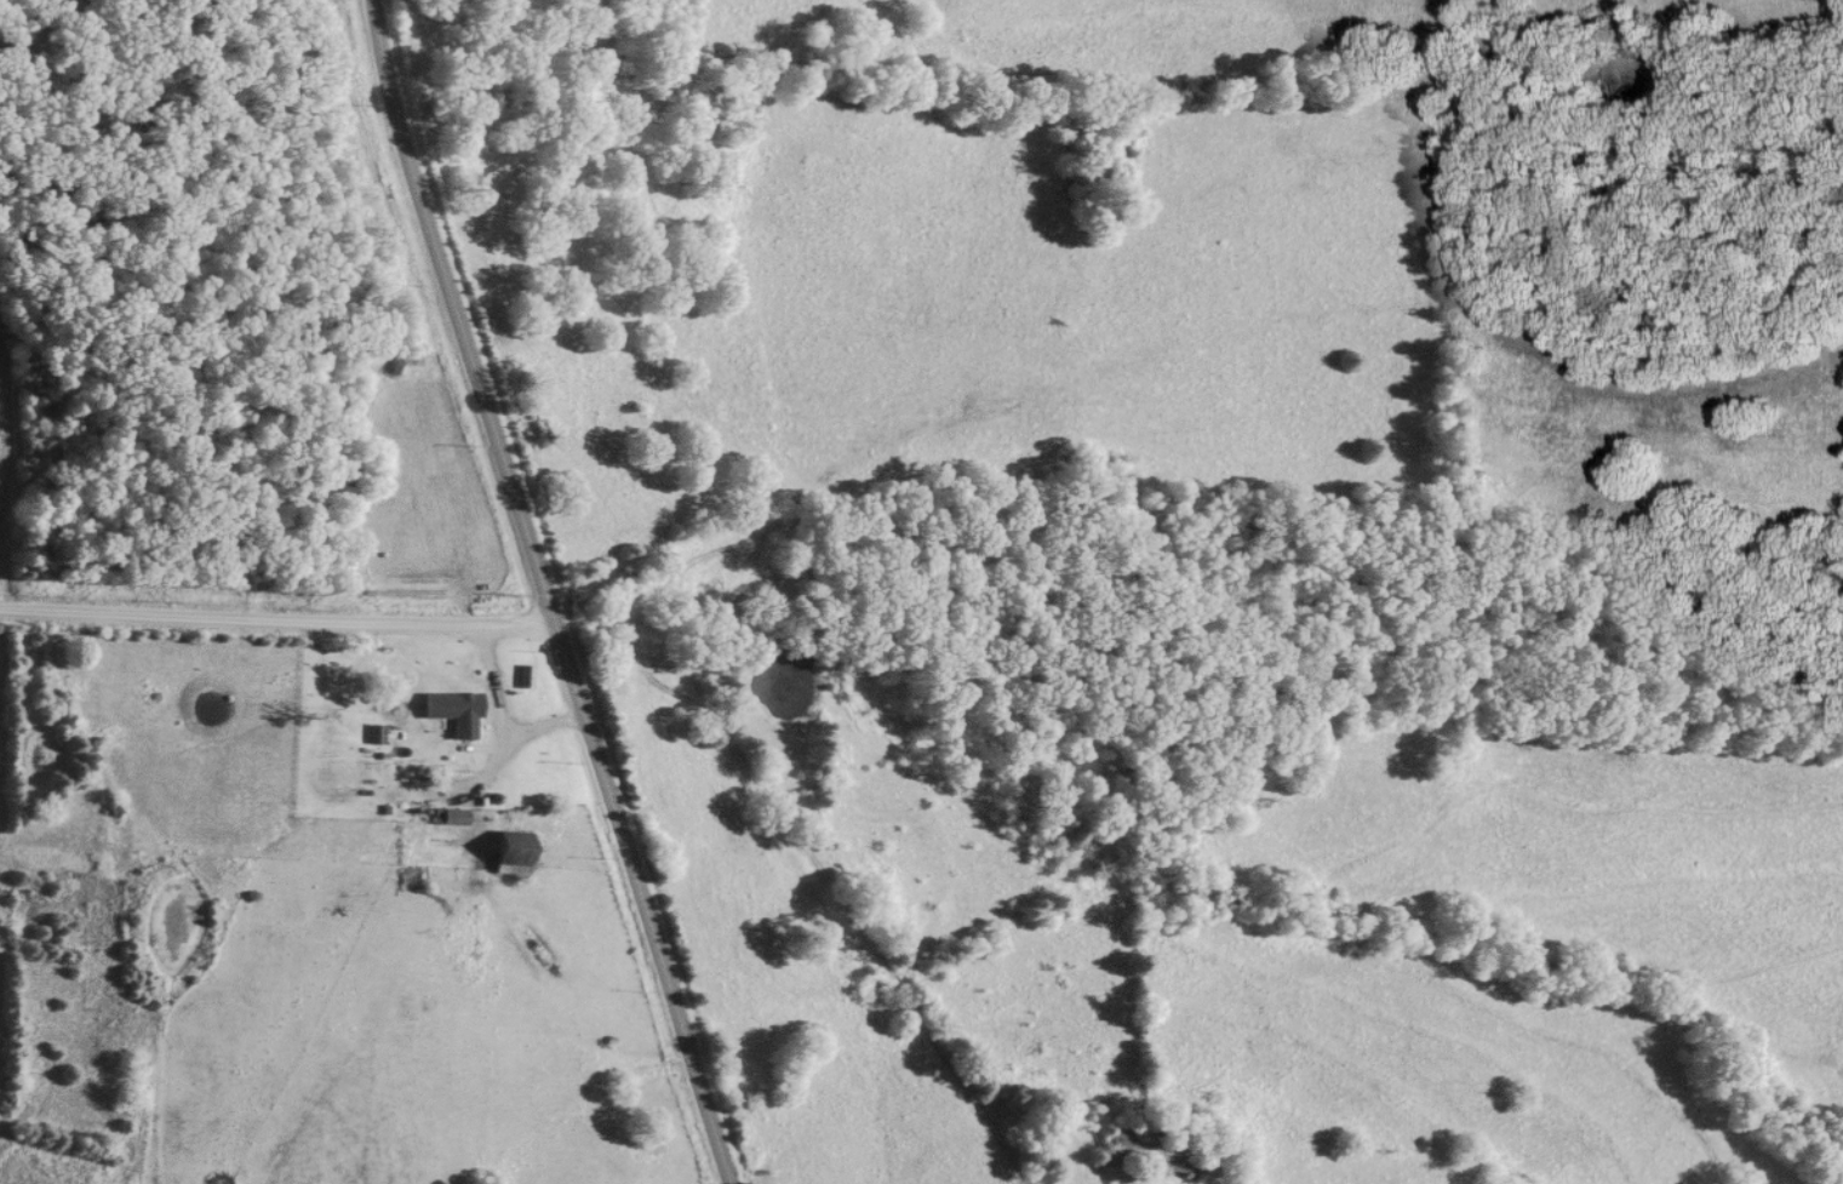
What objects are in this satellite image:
road: (543, 591)
road: (275, 611)
building: (462, 714)
building: (452, 818)
building: (509, 854)
building: (411, 883)
building: (1155, 1152)

